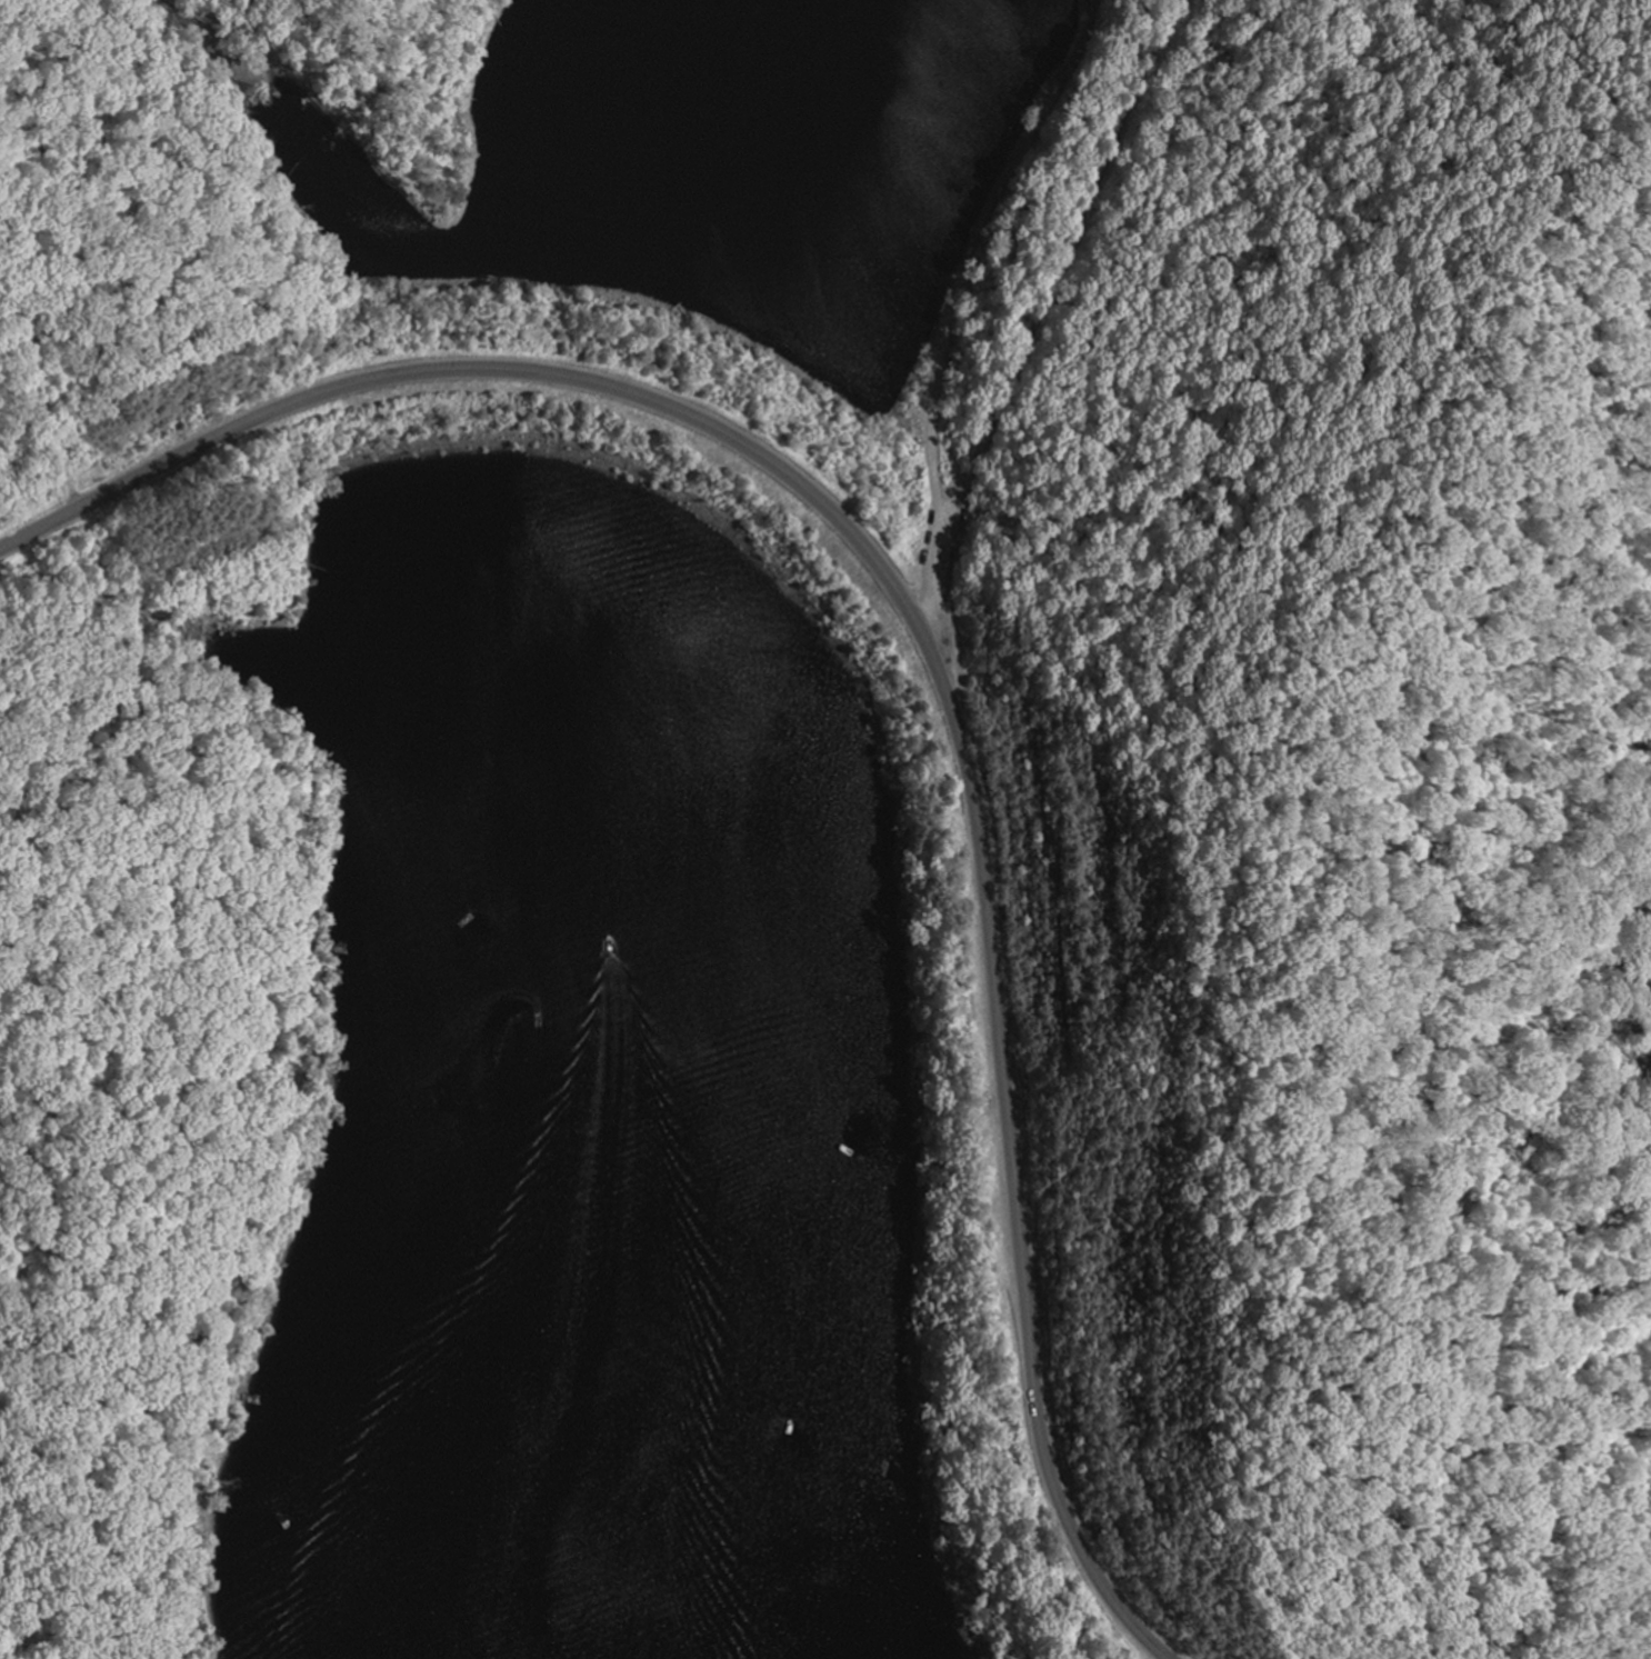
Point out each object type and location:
road: (980, 266)
road: (1040, 321)
parking lot: (942, 560)
road: (928, 642)

